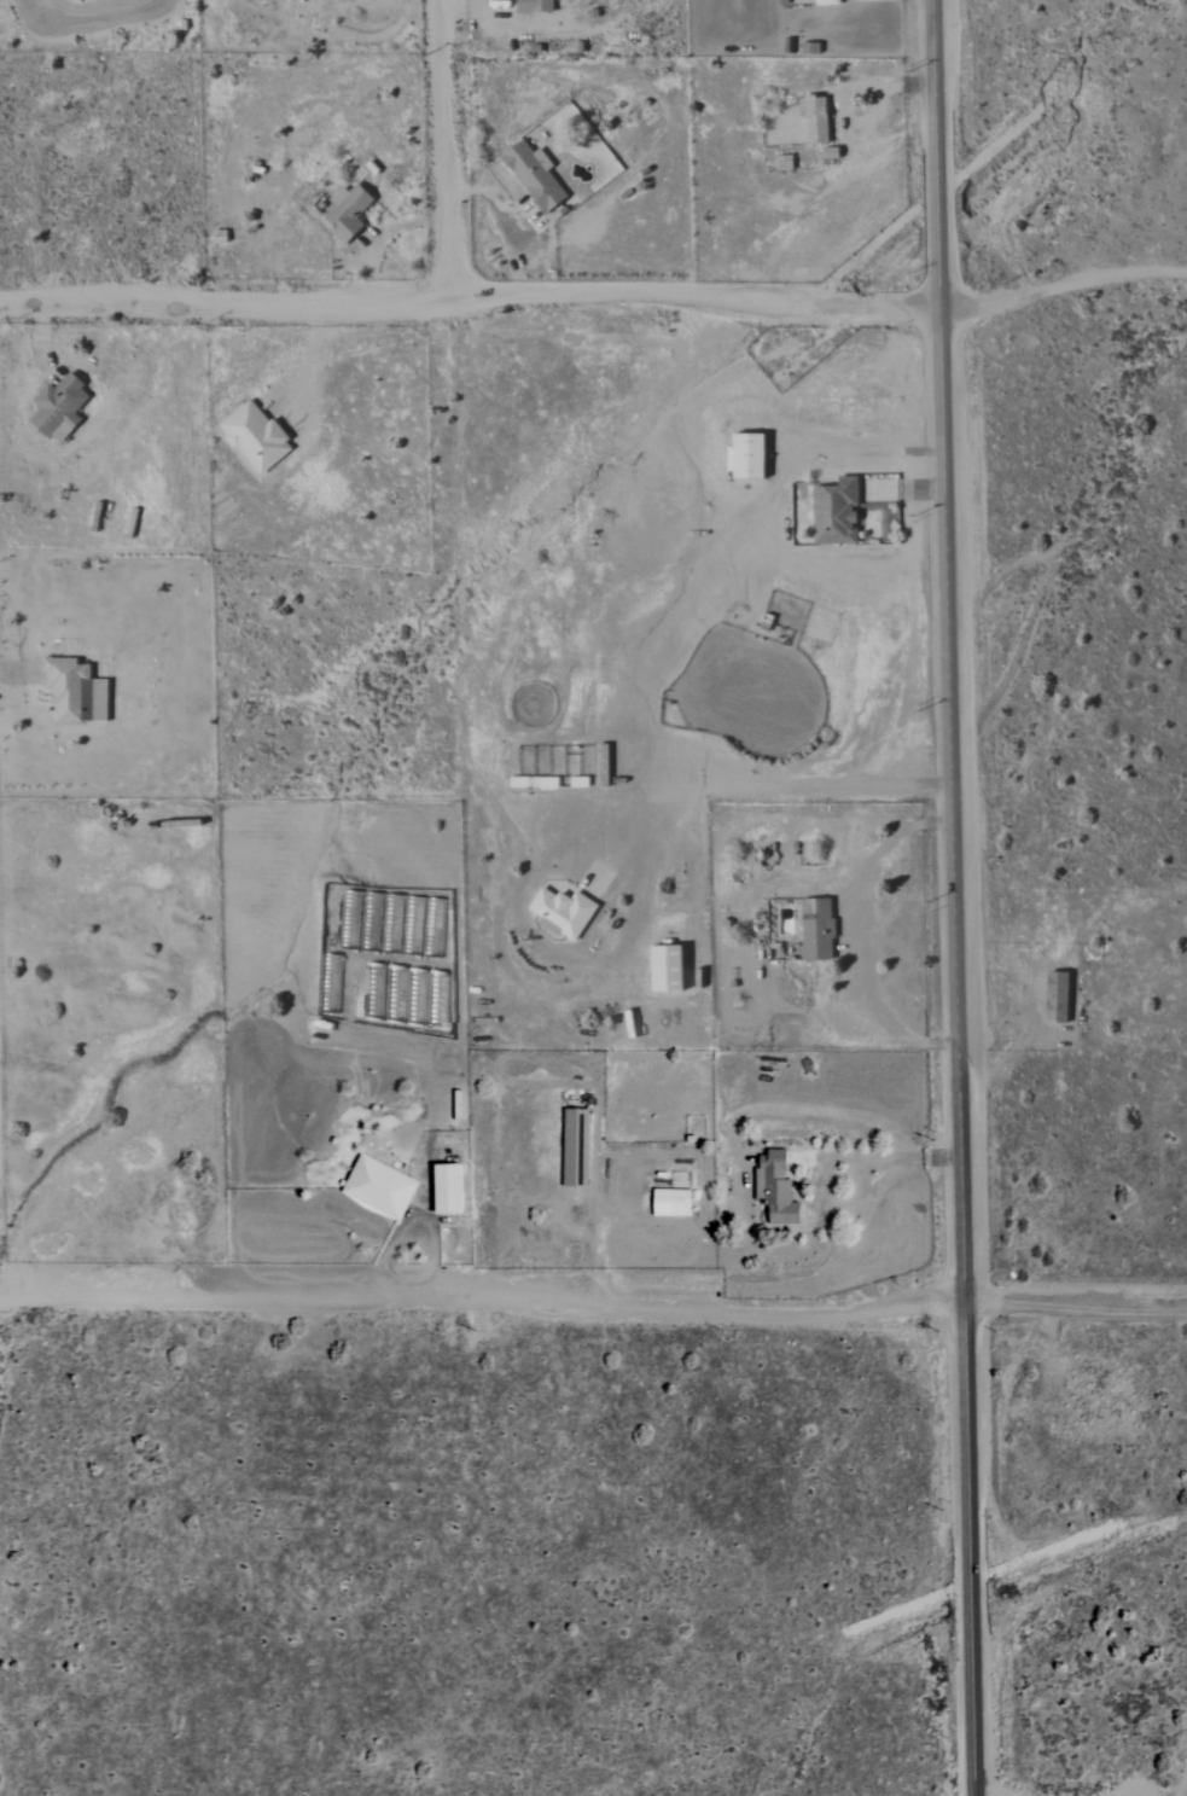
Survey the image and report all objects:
building: (828, 2)
road: (471, 5)
building: (533, 6)
road: (70, 30)
road: (860, 116)
building: (815, 120)
road: (443, 149)
building: (533, 175)
road: (489, 205)
building: (347, 213)
road: (384, 237)
road: (1081, 283)
road: (398, 298)
road: (959, 304)
road: (868, 307)
road: (309, 355)
building: (58, 408)
building: (255, 437)
road: (862, 460)
building: (834, 512)
building: (74, 692)
road: (933, 785)
road: (750, 789)
road: (953, 897)
building: (562, 912)
building: (816, 929)
road: (853, 946)
building: (664, 967)
road: (881, 1159)
road: (943, 1159)
building: (378, 1187)
building: (774, 1187)
building: (446, 1188)
building: (670, 1203)
road: (409, 1232)
road: (960, 1304)
road: (1090, 1308)
road: (462, 1309)

